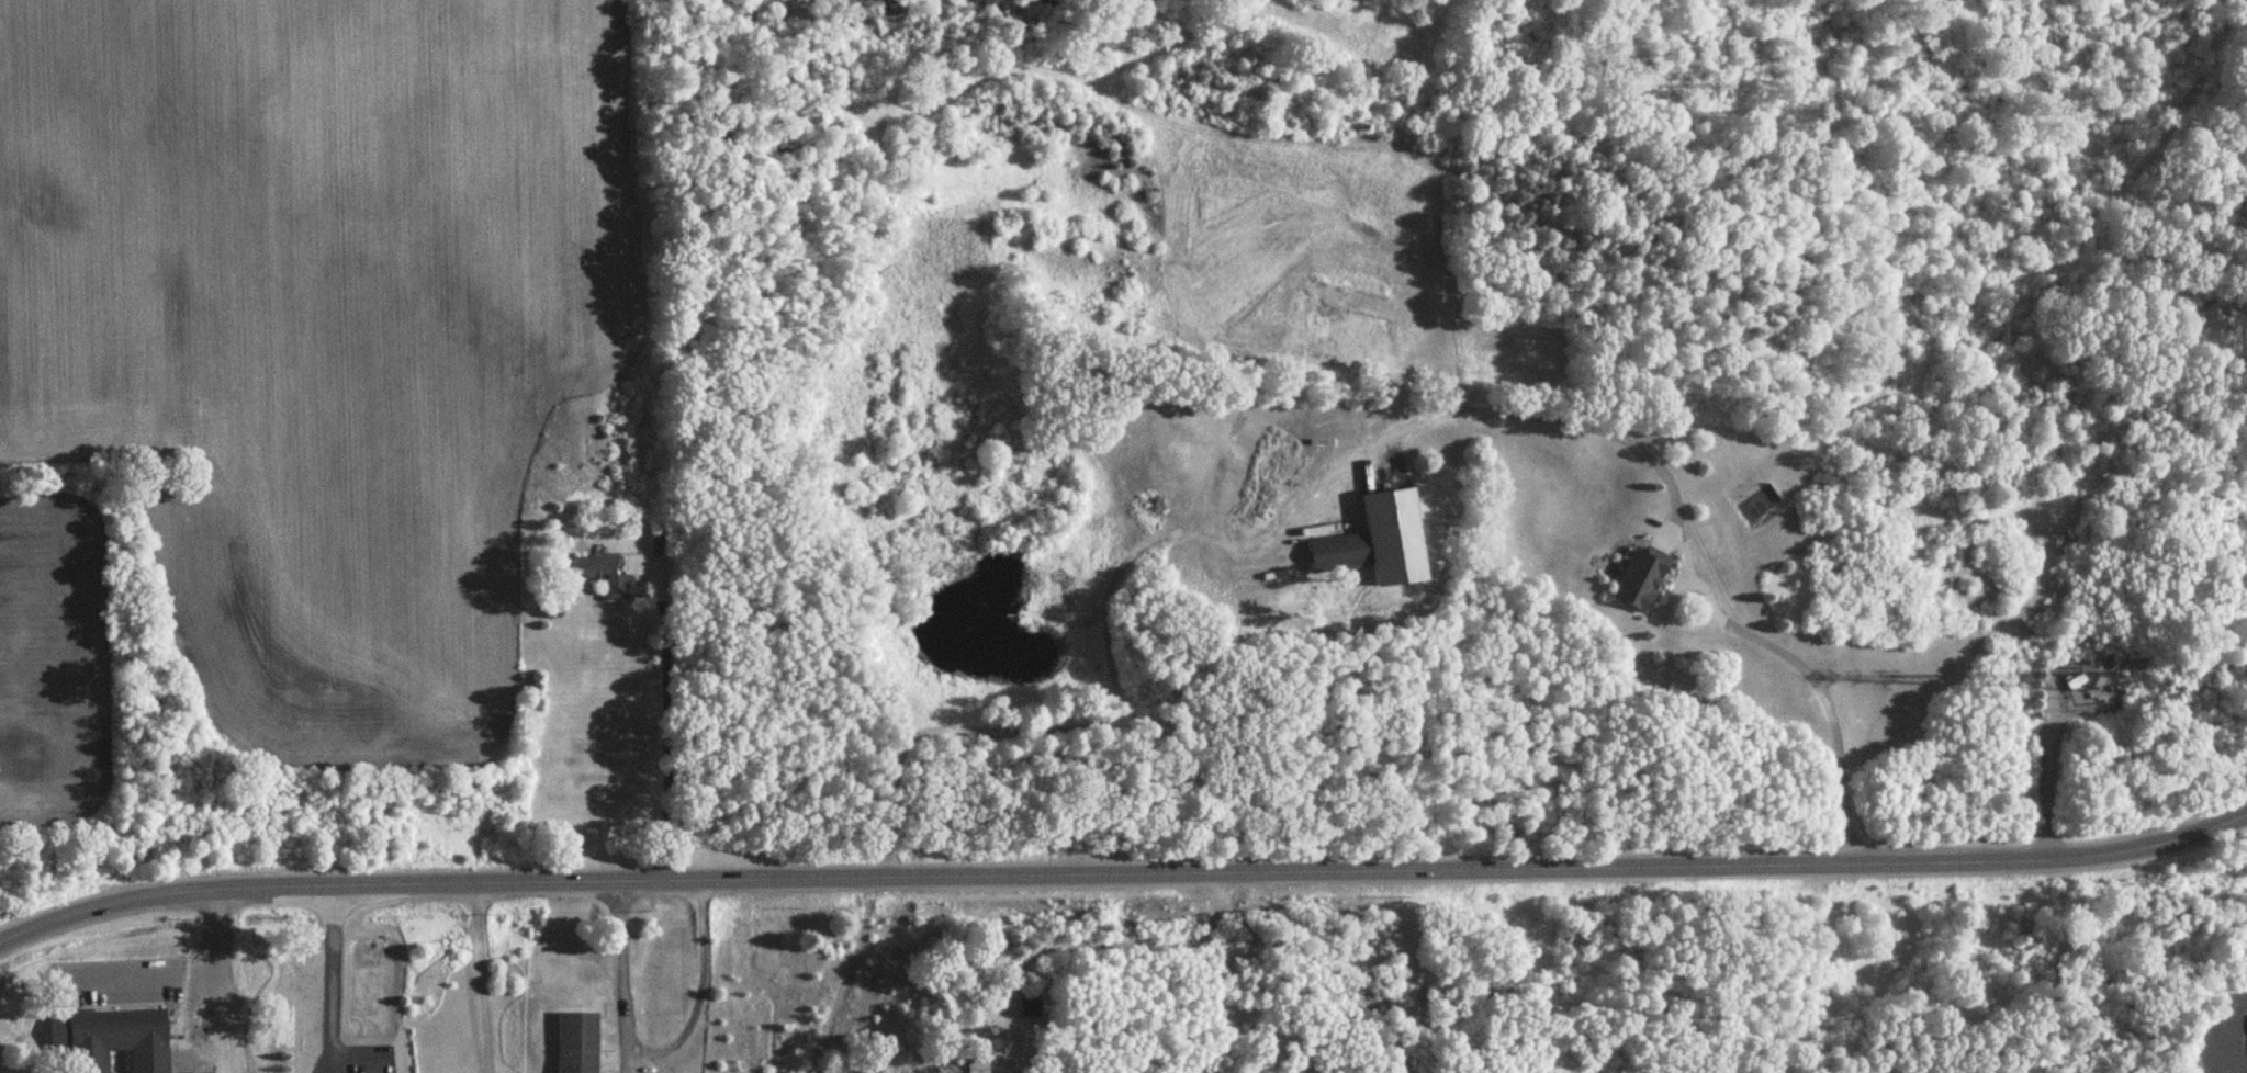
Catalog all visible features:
road: (1677, 522)
building: (1336, 551)
building: (589, 565)
building: (1636, 579)
building: (611, 588)
road: (666, 728)
road: (1122, 877)
road: (193, 971)
road: (327, 978)
road: (481, 979)
building: (1024, 1004)
road: (2237, 1021)
building: (110, 1040)
building: (575, 1043)
road: (654, 1047)
building: (970, 1062)
building: (193, 1072)

